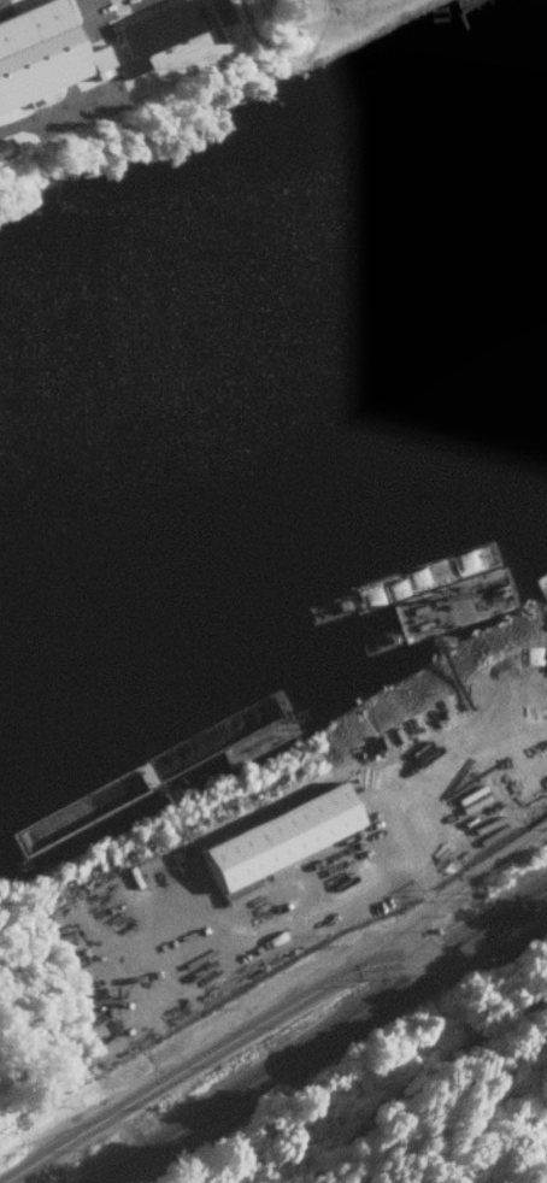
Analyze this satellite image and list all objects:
building: (222, 19)
building: (52, 54)
river: (276, 393)
building: (276, 835)
road: (459, 904)
road: (280, 1023)
railway: (317, 1032)
railway: (325, 1038)
road: (420, 1083)

